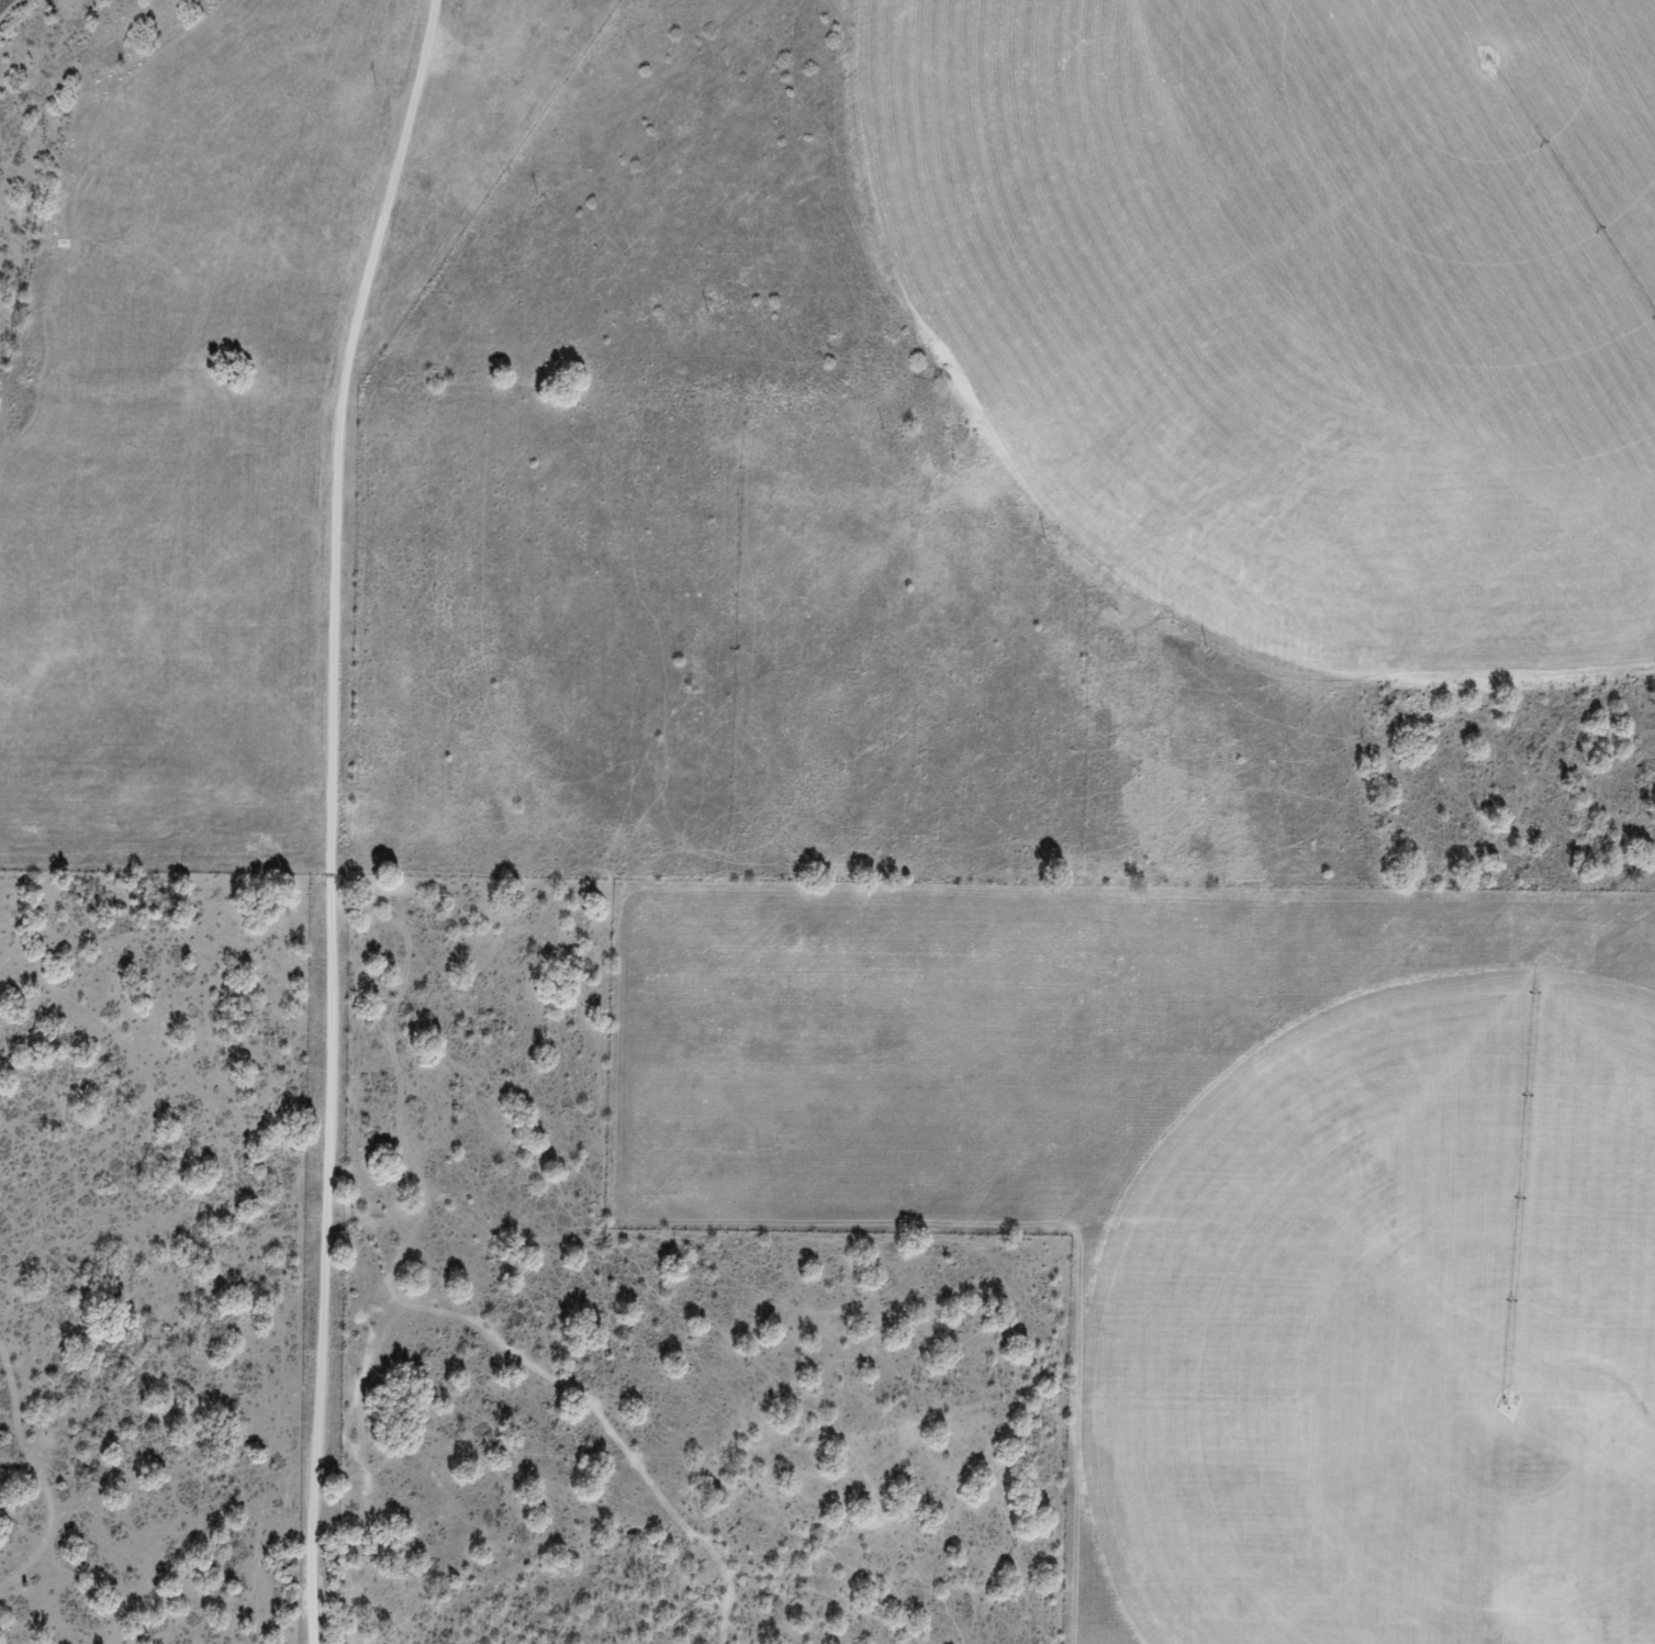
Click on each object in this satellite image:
road: (5, 5)
crop: (1304, 303)

